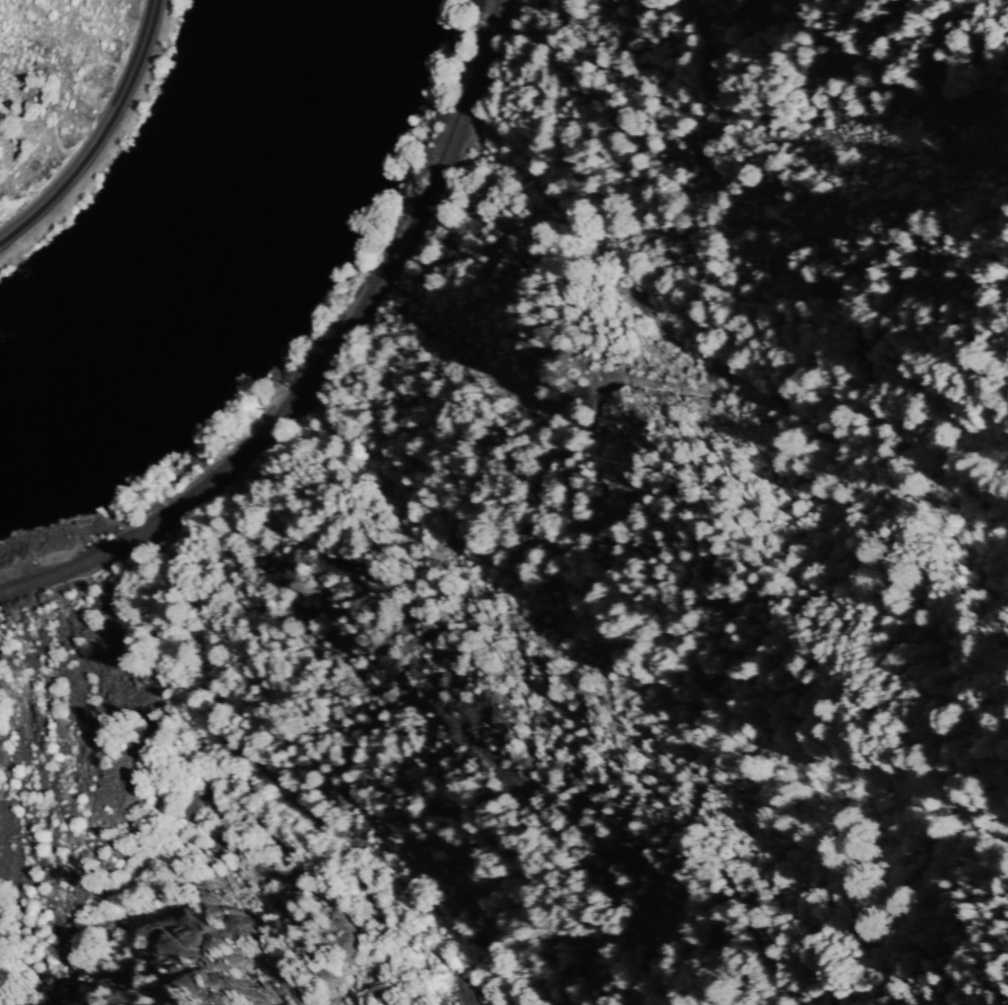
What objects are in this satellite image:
river: (270, 107)
road: (98, 133)
river: (176, 271)
river: (60, 358)
railway: (325, 363)
power tower: (603, 489)
power tower: (481, 713)

